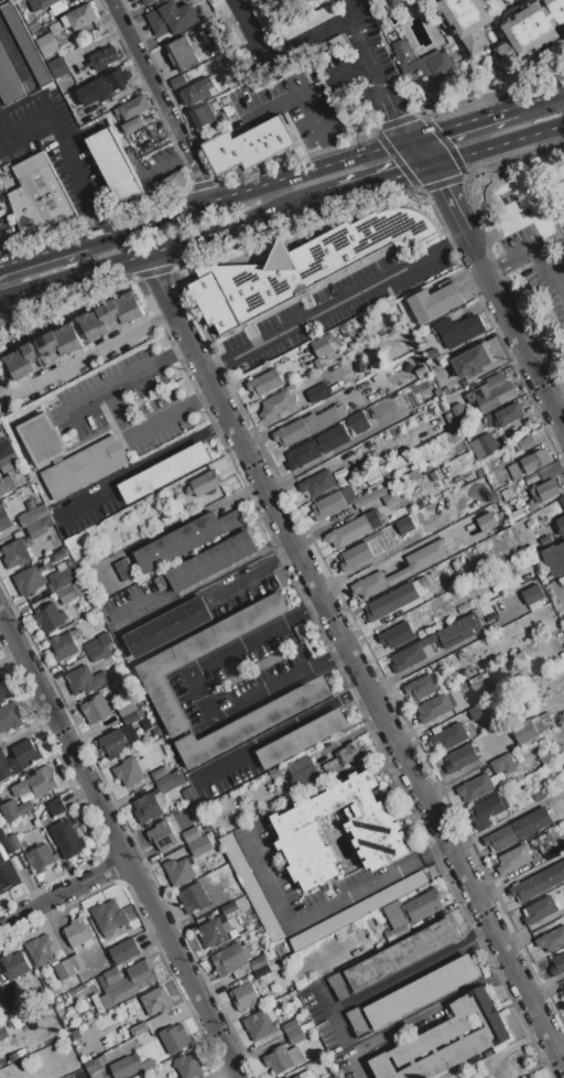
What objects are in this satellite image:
building: (278, 0)
building: (430, 0)
building: (46, 2)
building: (147, 2)
building: (391, 3)
building: (58, 8)
building: (79, 17)
building: (261, 17)
building: (32, 18)
building: (46, 18)
building: (172, 18)
building: (307, 21)
building: (468, 21)
building: (229, 23)
building: (34, 25)
building: (56, 26)
building: (530, 32)
building: (214, 36)
building: (45, 44)
building: (326, 48)
building: (181, 53)
road: (281, 56)
building: (104, 57)
building: (18, 58)
building: (421, 61)
road: (18, 65)
building: (237, 65)
building: (58, 66)
road: (149, 74)
building: (177, 80)
building: (223, 82)
building: (104, 86)
road: (380, 86)
building: (197, 91)
road: (303, 91)
road: (539, 97)
building: (224, 100)
building: (133, 107)
road: (42, 112)
building: (232, 115)
building: (200, 116)
traffic signals: (397, 116)
road: (463, 121)
building: (219, 122)
building: (132, 125)
traffic signals: (441, 129)
road: (7, 131)
building: (204, 131)
road: (58, 144)
building: (250, 144)
road: (497, 144)
road: (1, 149)
road: (334, 154)
building: (115, 164)
road: (198, 173)
traffic signals: (400, 174)
building: (177, 180)
road: (379, 180)
building: (0, 184)
building: (0, 186)
traffic signals: (443, 186)
road: (248, 187)
building: (40, 196)
road: (455, 209)
road: (98, 220)
road: (457, 241)
road: (163, 247)
road: (42, 251)
road: (534, 252)
road: (0, 262)
building: (303, 265)
road: (154, 274)
building: (434, 302)
road: (335, 304)
building: (130, 306)
building: (112, 315)
building: (93, 325)
building: (459, 330)
building: (68, 337)
road: (521, 338)
building: (322, 346)
building: (51, 347)
road: (173, 352)
road: (86, 354)
building: (432, 354)
building: (32, 357)
building: (473, 359)
building: (419, 360)
building: (15, 366)
road: (215, 367)
building: (359, 367)
building: (408, 367)
building: (420, 369)
building: (371, 379)
building: (265, 381)
road: (111, 384)
building: (318, 391)
building: (491, 392)
building: (376, 395)
road: (199, 399)
building: (278, 401)
road: (561, 409)
building: (458, 410)
building: (508, 414)
building: (449, 418)
building: (488, 419)
building: (359, 422)
building: (307, 425)
road: (134, 434)
building: (41, 439)
building: (487, 442)
building: (523, 442)
building: (316, 446)
building: (364, 446)
building: (4, 448)
road: (167, 450)
building: (535, 459)
building: (9, 462)
building: (84, 466)
building: (425, 468)
building: (551, 470)
building: (514, 471)
building: (163, 472)
building: (531, 477)
building: (317, 483)
building: (416, 483)
building: (204, 484)
building: (4, 486)
building: (546, 489)
building: (507, 492)
building: (164, 493)
building: (348, 493)
building: (372, 494)
road: (84, 496)
building: (391, 498)
building: (562, 500)
building: (30, 503)
building: (329, 505)
building: (518, 513)
building: (33, 515)
building: (4, 518)
road: (183, 520)
building: (487, 521)
building: (404, 525)
building: (560, 525)
building: (35, 529)
building: (354, 529)
building: (185, 539)
building: (544, 539)
building: (15, 553)
road: (284, 556)
building: (355, 556)
building: (555, 558)
building: (208, 562)
building: (124, 569)
building: (401, 569)
building: (63, 575)
road: (240, 580)
building: (29, 581)
building: (79, 586)
building: (43, 593)
building: (532, 593)
building: (66, 594)
building: (383, 604)
road: (313, 605)
building: (534, 605)
building: (104, 606)
building: (77, 607)
building: (462, 608)
building: (50, 617)
building: (167, 626)
building: (76, 633)
building: (397, 635)
building: (209, 639)
building: (449, 642)
building: (97, 643)
building: (62, 646)
road: (335, 650)
building: (100, 654)
building: (86, 679)
road: (365, 679)
building: (478, 683)
building: (422, 687)
building: (3, 690)
road: (197, 697)
building: (140, 702)
building: (440, 704)
building: (126, 707)
building: (96, 708)
building: (477, 711)
building: (543, 715)
building: (10, 716)
building: (133, 716)
building: (251, 722)
building: (145, 724)
road: (279, 729)
building: (524, 730)
building: (156, 732)
building: (448, 735)
building: (301, 739)
building: (117, 740)
building: (173, 748)
building: (352, 752)
building: (552, 753)
building: (18, 758)
building: (460, 758)
building: (503, 764)
building: (333, 766)
building: (131, 769)
building: (479, 769)
building: (302, 770)
building: (275, 772)
building: (160, 773)
building: (35, 783)
building: (475, 787)
building: (542, 791)
building: (188, 795)
building: (156, 797)
building: (284, 797)
building: (56, 806)
building: (14, 809)
building: (487, 810)
building: (518, 829)
building: (372, 830)
building: (162, 834)
building: (191, 834)
building: (67, 838)
building: (14, 841)
road: (118, 842)
building: (543, 842)
building: (200, 845)
road: (436, 850)
building: (40, 856)
building: (513, 858)
building: (22, 861)
building: (558, 861)
building: (6, 865)
building: (178, 871)
road: (513, 882)
building: (251, 887)
building: (528, 888)
road: (63, 892)
building: (194, 897)
building: (412, 907)
building: (543, 907)
building: (230, 908)
building: (358, 910)
building: (109, 915)
road: (310, 919)
building: (76, 931)
building: (215, 931)
building: (397, 931)
building: (235, 933)
building: (118, 938)
building: (552, 939)
building: (41, 949)
building: (124, 950)
building: (272, 955)
building: (393, 958)
building: (229, 959)
building: (258, 962)
building: (14, 963)
building: (556, 964)
building: (68, 967)
road: (412, 969)
building: (262, 970)
building: (124, 982)
building: (273, 985)
building: (562, 992)
building: (246, 995)
building: (413, 995)
building: (9, 998)
building: (286, 1000)
building: (156, 1001)
road: (334, 1015)
road: (417, 1015)
building: (261, 1022)
building: (139, 1028)
building: (293, 1031)
building: (2, 1033)
building: (75, 1034)
building: (174, 1038)
building: (445, 1041)
road: (560, 1047)
building: (283, 1058)
building: (148, 1064)
building: (0, 1065)
building: (188, 1065)
building: (95, 1066)
building: (126, 1066)
building: (305, 1075)
building: (288, 1077)
building: (330, 1077)
building: (530, 1077)

